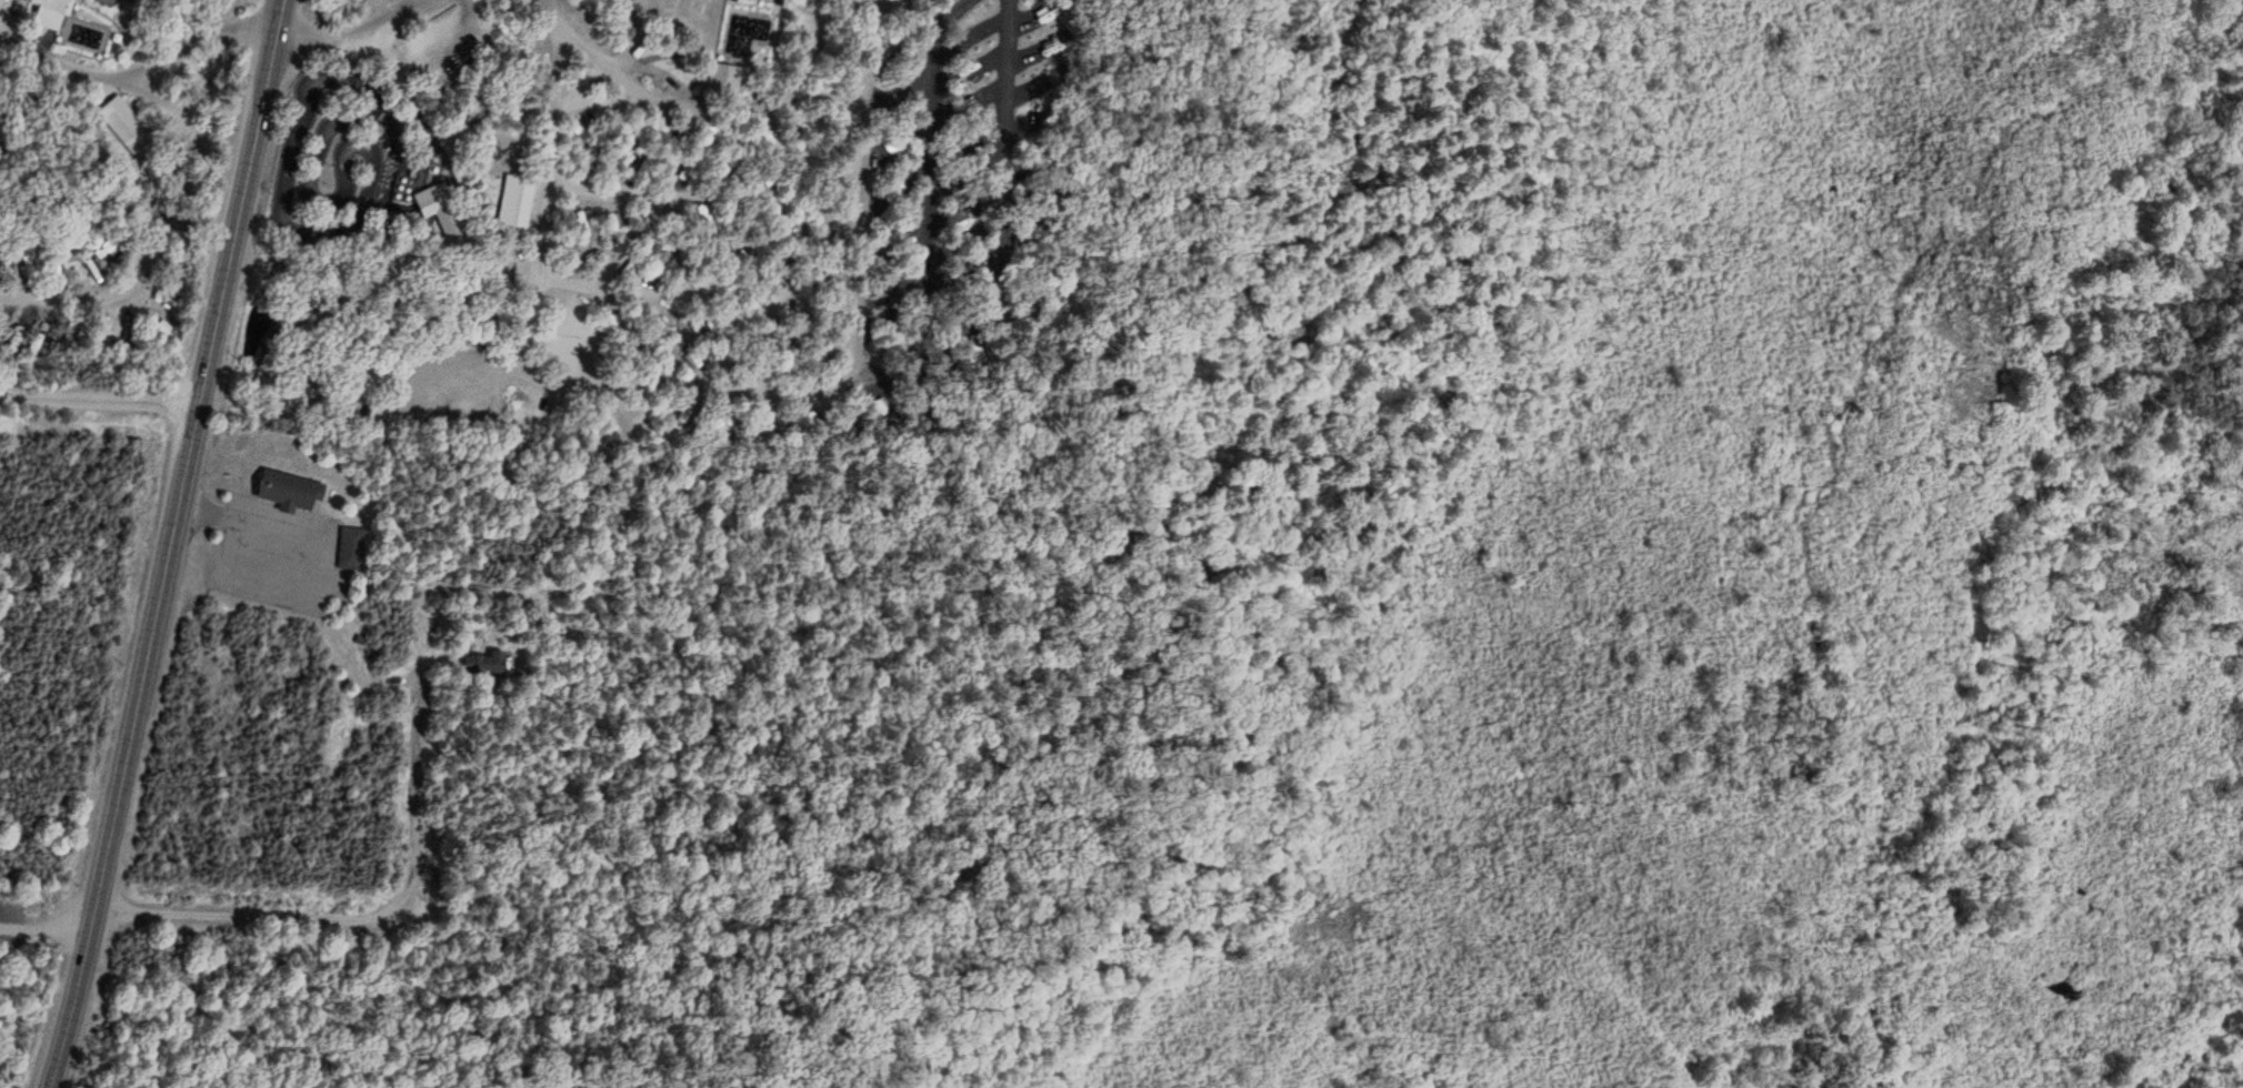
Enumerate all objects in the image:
building: (47, 12)
road: (352, 31)
road: (11, 34)
road: (199, 43)
road: (874, 44)
road: (67, 70)
road: (683, 104)
building: (123, 123)
raceway: (343, 165)
road: (930, 184)
building: (512, 200)
road: (703, 200)
road: (147, 238)
building: (106, 251)
road: (574, 283)
building: (158, 295)
building: (660, 321)
road: (974, 385)
road: (96, 397)
building: (437, 410)
building: (284, 490)
road: (163, 546)
building: (348, 547)
building: (479, 662)

